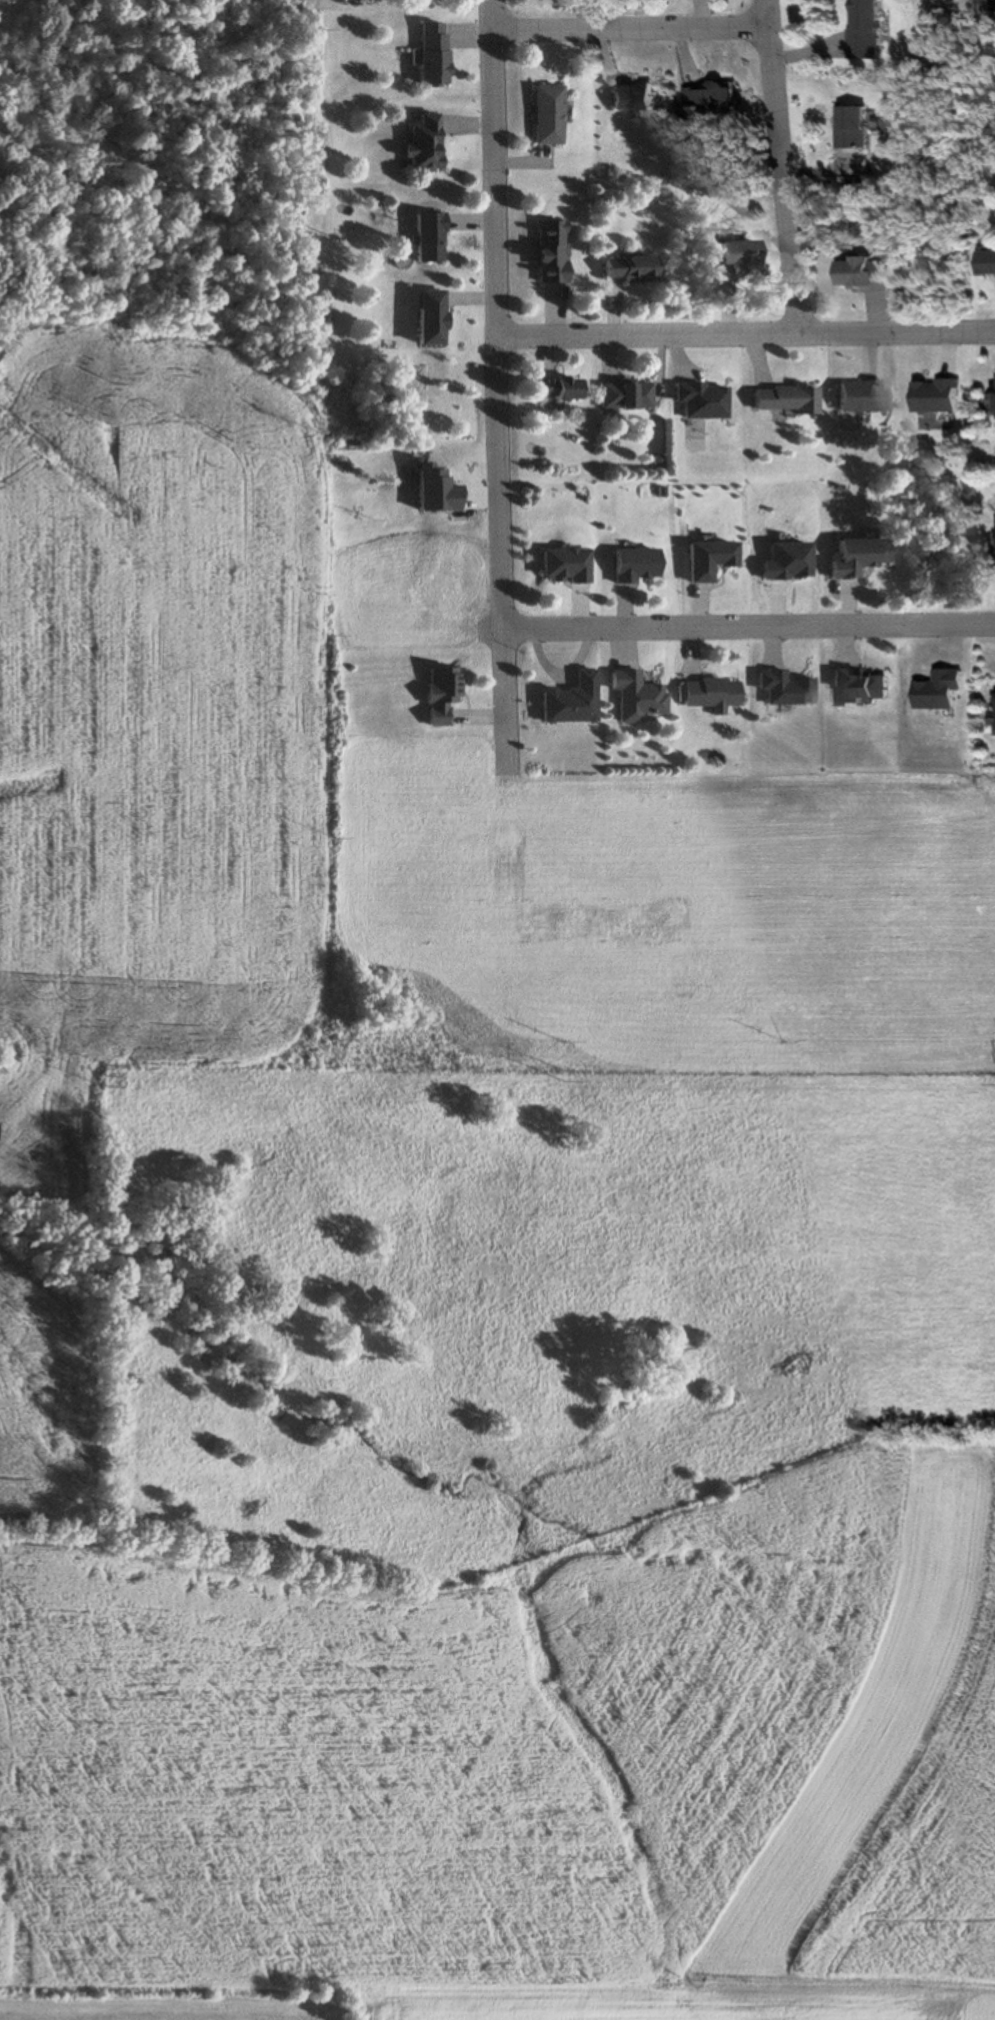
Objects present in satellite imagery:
road: (630, 26)
building: (869, 31)
building: (432, 55)
building: (712, 96)
building: (634, 97)
building: (545, 115)
building: (857, 127)
building: (419, 143)
road: (782, 164)
building: (425, 238)
building: (548, 252)
building: (735, 257)
building: (989, 264)
building: (628, 270)
building: (869, 275)
building: (428, 318)
road: (744, 328)
road: (494, 386)
building: (556, 387)
building: (624, 393)
building: (859, 395)
building: (943, 395)
building: (783, 398)
building: (702, 399)
building: (856, 556)
building: (706, 558)
building: (632, 563)
building: (562, 564)
road: (745, 624)
building: (862, 685)
building: (783, 688)
building: (437, 693)
building: (707, 693)
building: (631, 695)
building: (566, 700)
power tower: (563, 1076)
power tower: (103, 1077)

